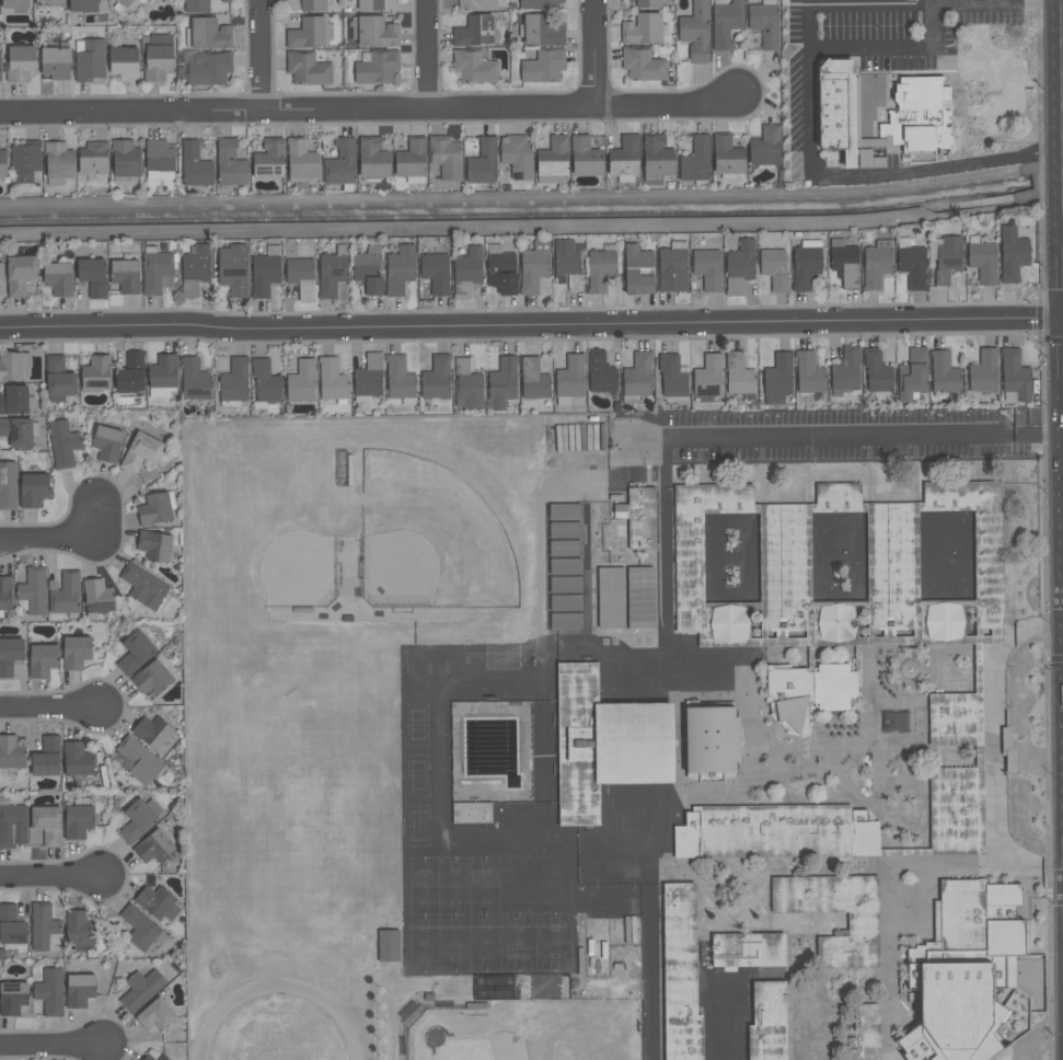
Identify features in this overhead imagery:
building: (226, 1)
building: (131, 3)
building: (648, 3)
road: (845, 3)
building: (14, 4)
building: (47, 4)
building: (314, 4)
building: (369, 4)
building: (540, 4)
building: (83, 5)
building: (477, 5)
building: (196, 7)
building: (726, 23)
building: (764, 23)
building: (642, 30)
building: (474, 31)
building: (541, 31)
building: (695, 31)
building: (373, 32)
building: (309, 33)
building: (207, 34)
road: (1062, 34)
road: (594, 54)
road: (429, 55)
road: (1062, 55)
building: (158, 57)
road: (262, 57)
building: (89, 59)
building: (124, 61)
building: (55, 62)
building: (20, 64)
building: (0, 65)
building: (643, 65)
building: (473, 66)
building: (543, 66)
building: (377, 67)
building: (209, 68)
building: (308, 68)
road: (806, 91)
road: (368, 111)
building: (836, 111)
building: (857, 118)
building: (920, 119)
road: (967, 138)
road: (1003, 139)
building: (765, 147)
building: (446, 157)
building: (516, 157)
building: (585, 157)
building: (727, 157)
building: (372, 158)
building: (624, 158)
building: (159, 159)
building: (656, 159)
building: (125, 160)
building: (269, 160)
building: (695, 160)
building: (93, 161)
building: (412, 161)
building: (553, 161)
building: (301, 162)
building: (482, 162)
building: (25, 163)
building: (58, 163)
building: (3, 164)
building: (195, 164)
building: (340, 164)
building: (230, 165)
building: (1013, 254)
building: (945, 256)
building: (982, 261)
building: (844, 263)
building: (567, 264)
building: (806, 264)
building: (876, 264)
building: (738, 265)
building: (911, 265)
building: (533, 266)
building: (601, 267)
building: (672, 267)
building: (154, 269)
building: (195, 269)
building: (233, 269)
building: (368, 269)
building: (400, 269)
building: (774, 269)
building: (500, 270)
building: (637, 270)
building: (265, 272)
building: (332, 272)
building: (466, 272)
building: (705, 272)
building: (436, 273)
building: (20, 274)
building: (125, 276)
building: (93, 277)
building: (57, 278)
building: (301, 278)
building: (1, 280)
road: (531, 326)
building: (13, 366)
building: (845, 371)
building: (877, 371)
building: (983, 371)
building: (96, 372)
building: (601, 372)
building: (130, 373)
building: (809, 373)
building: (944, 373)
building: (739, 375)
building: (913, 375)
building: (162, 376)
building: (672, 376)
building: (637, 377)
building: (708, 377)
building: (1015, 377)
building: (368, 378)
building: (436, 378)
building: (58, 379)
building: (194, 379)
building: (533, 379)
building: (569, 379)
building: (777, 379)
building: (400, 380)
building: (333, 381)
building: (301, 382)
building: (234, 383)
building: (265, 383)
building: (501, 383)
building: (467, 385)
building: (16, 401)
building: (19, 431)
road: (846, 435)
building: (562, 437)
parking lot: (821, 438)
building: (62, 443)
building: (106, 443)
building: (140, 451)
road: (978, 471)
road: (701, 475)
road: (915, 482)
road: (870, 483)
road: (808, 484)
road: (762, 485)
building: (8, 486)
building: (33, 489)
building: (155, 508)
building: (639, 518)
road: (67, 539)
road: (667, 542)
building: (154, 545)
building: (990, 556)
building: (881, 557)
building: (690, 558)
building: (565, 566)
building: (565, 585)
building: (145, 588)
building: (33, 590)
building: (4, 595)
building: (66, 596)
building: (97, 597)
building: (626, 598)
building: (565, 603)
building: (566, 621)
building: (76, 653)
building: (135, 653)
building: (10, 655)
road: (901, 659)
building: (42, 660)
road: (933, 669)
road: (899, 670)
road: (928, 670)
building: (154, 676)
road: (888, 677)
road: (901, 681)
building: (835, 688)
building: (792, 696)
road: (49, 711)
building: (952, 719)
road: (997, 727)
building: (152, 731)
building: (712, 741)
building: (579, 744)
building: (636, 744)
building: (11, 752)
building: (47, 757)
road: (934, 758)
building: (78, 761)
building: (137, 761)
road: (891, 767)
road: (876, 774)
road: (787, 797)
road: (877, 809)
building: (954, 809)
building: (472, 813)
building: (78, 819)
building: (139, 819)
building: (12, 825)
building: (47, 825)
building: (777, 832)
building: (153, 846)
road: (790, 867)
road: (1042, 867)
road: (50, 878)
road: (735, 879)
road: (892, 899)
building: (157, 902)
road: (717, 902)
road: (751, 906)
road: (770, 908)
building: (864, 925)
building: (141, 927)
building: (12, 929)
building: (45, 929)
building: (80, 931)
road: (813, 937)
building: (388, 945)
road: (799, 965)
building: (682, 973)
building: (972, 977)
track: (277, 988)
building: (759, 988)
building: (141, 989)
building: (79, 990)
road: (652, 990)
building: (49, 991)
building: (13, 998)
building: (155, 1015)
track: (365, 1019)
building: (867, 1022)
road: (51, 1048)
building: (864, 1049)
road: (1009, 1053)
building: (148, 1058)
building: (162, 1058)

